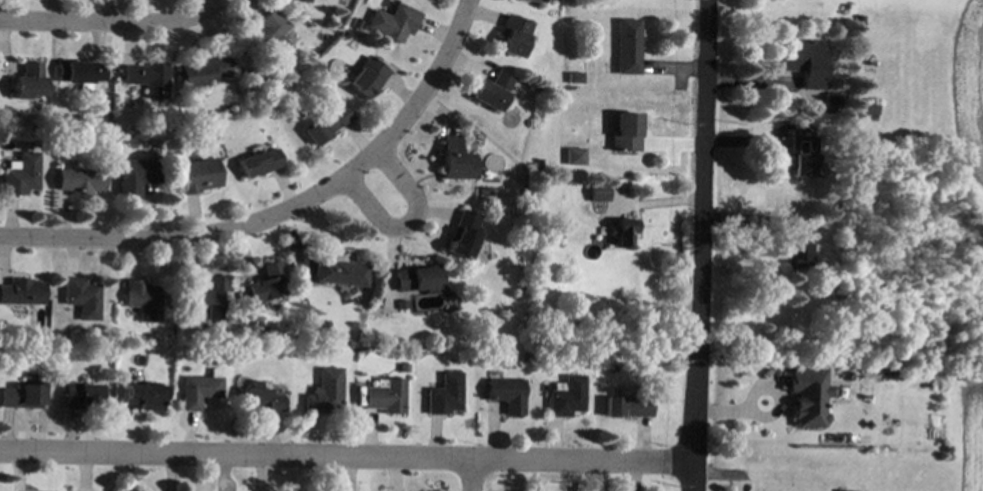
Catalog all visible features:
building: (305, 1)
building: (532, 1)
building: (859, 21)
building: (391, 22)
road: (115, 27)
building: (271, 34)
building: (343, 35)
building: (513, 35)
building: (626, 46)
building: (842, 55)
building: (803, 61)
building: (80, 72)
building: (200, 72)
building: (366, 76)
road: (427, 76)
building: (573, 77)
building: (147, 79)
building: (28, 82)
building: (244, 88)
crop: (969, 88)
building: (492, 91)
building: (555, 98)
building: (832, 102)
building: (869, 108)
building: (324, 124)
building: (624, 132)
building: (844, 133)
building: (176, 145)
building: (573, 157)
building: (802, 157)
building: (456, 161)
building: (258, 163)
building: (537, 165)
building: (21, 174)
building: (135, 175)
building: (197, 175)
building: (79, 181)
building: (482, 190)
building: (598, 191)
road: (403, 221)
building: (620, 231)
building: (464, 235)
road: (200, 237)
building: (553, 238)
building: (795, 244)
road: (698, 245)
building: (340, 273)
building: (418, 278)
building: (266, 283)
building: (22, 292)
building: (81, 297)
building: (207, 299)
building: (143, 300)
building: (401, 304)
building: (256, 324)
building: (324, 326)
building: (866, 365)
building: (404, 368)
building: (201, 389)
building: (326, 392)
building: (445, 394)
building: (507, 394)
building: (79, 395)
building: (145, 395)
building: (807, 395)
building: (20, 396)
building: (386, 396)
building: (566, 396)
building: (260, 398)
building: (627, 406)
crop: (970, 435)
road: (346, 456)
road: (468, 474)
building: (833, 490)

